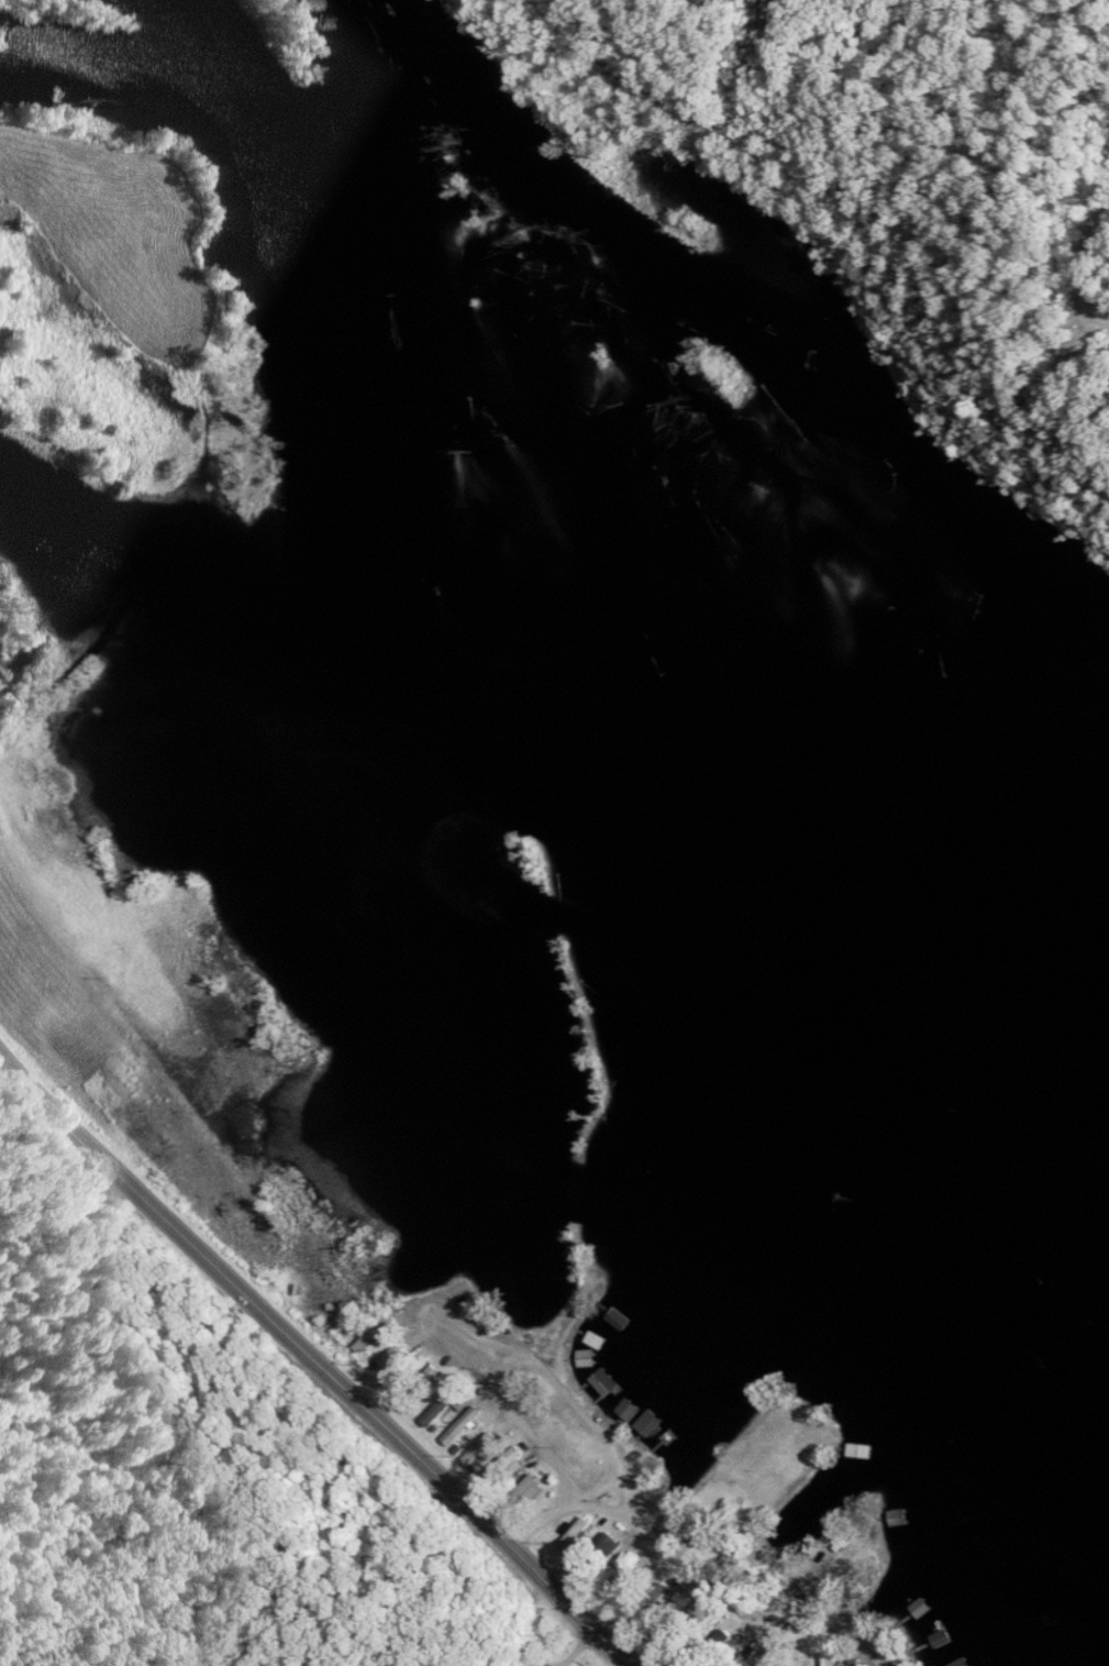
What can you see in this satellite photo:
river: (657, 589)
building: (618, 1320)
building: (375, 1333)
building: (396, 1357)
road: (317, 1360)
building: (587, 1360)
building: (628, 1408)
building: (648, 1424)
building: (464, 1426)
building: (479, 1453)
building: (503, 1467)
building: (894, 1483)
building: (532, 1485)
building: (577, 1536)
building: (855, 1559)
building: (633, 1585)
building: (920, 1611)
building: (829, 1654)

